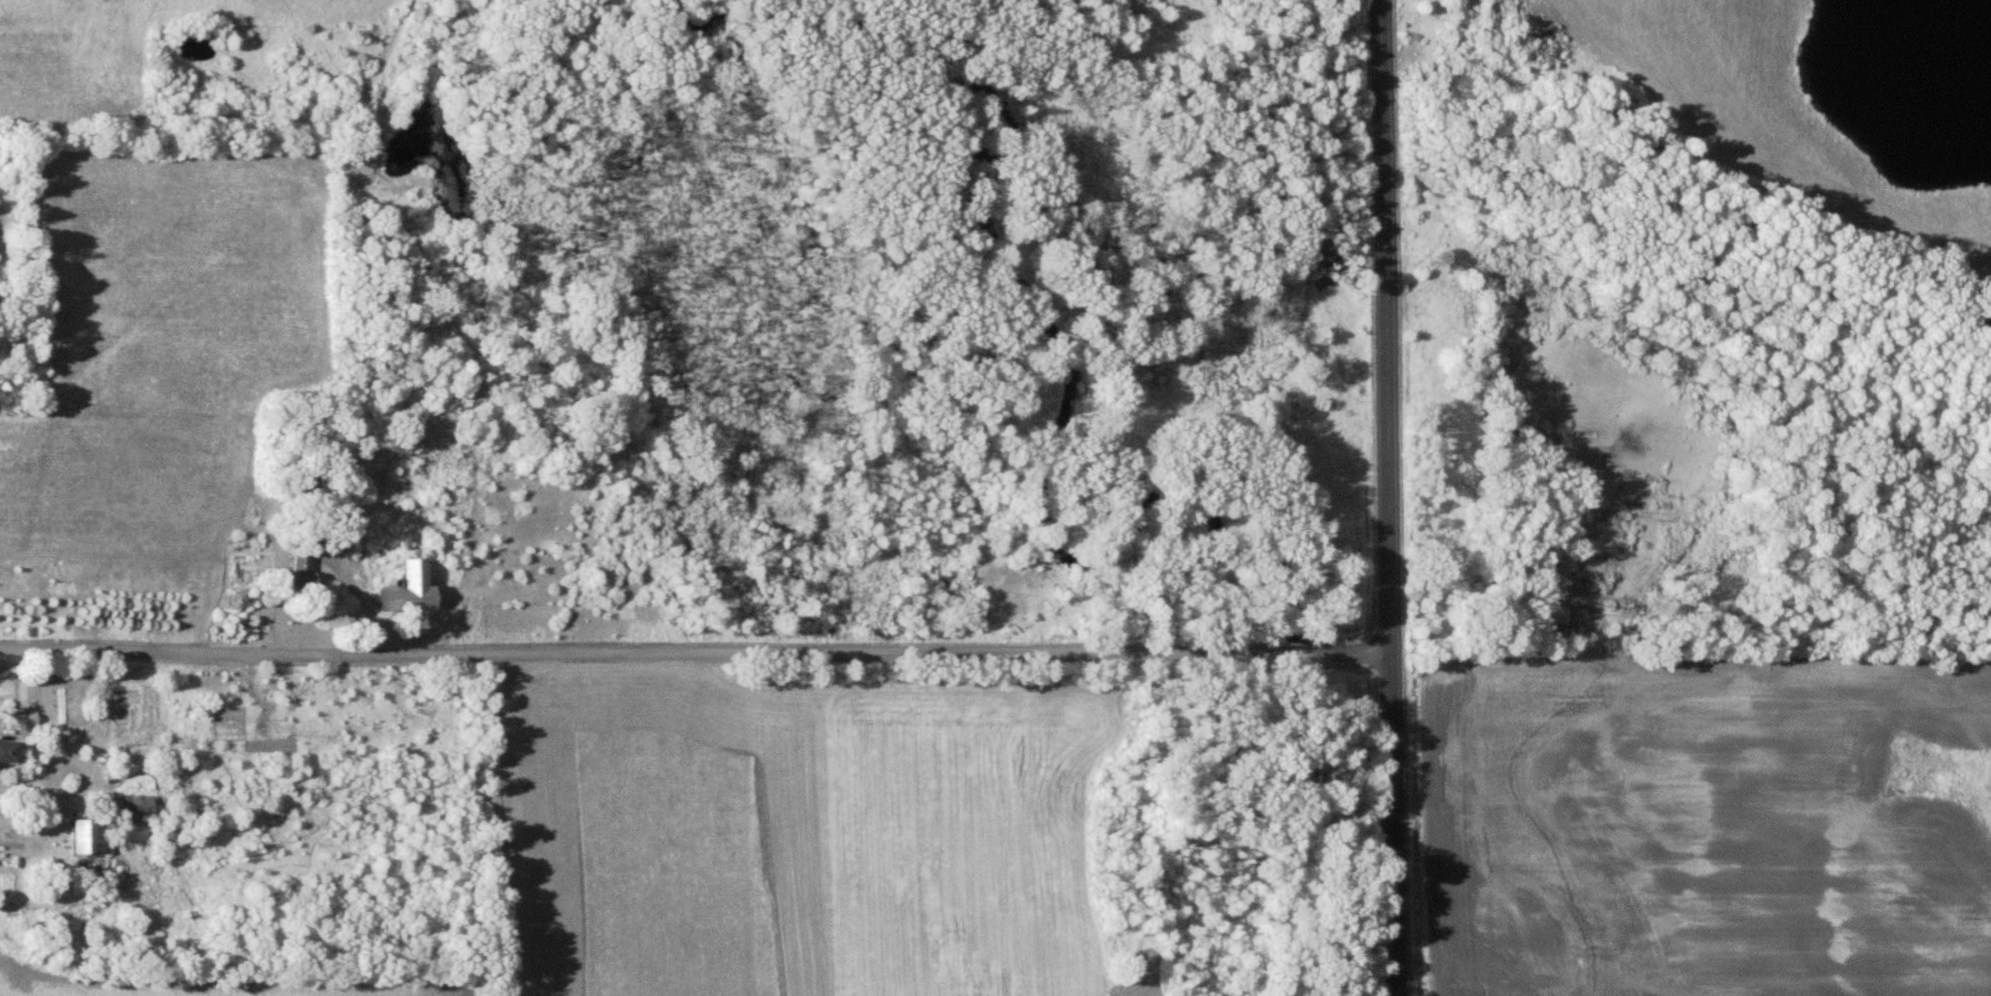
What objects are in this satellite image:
road: (1389, 497)
building: (300, 571)
building: (407, 590)
road: (695, 656)
building: (7, 753)
building: (136, 805)
building: (132, 831)
building: (84, 838)

